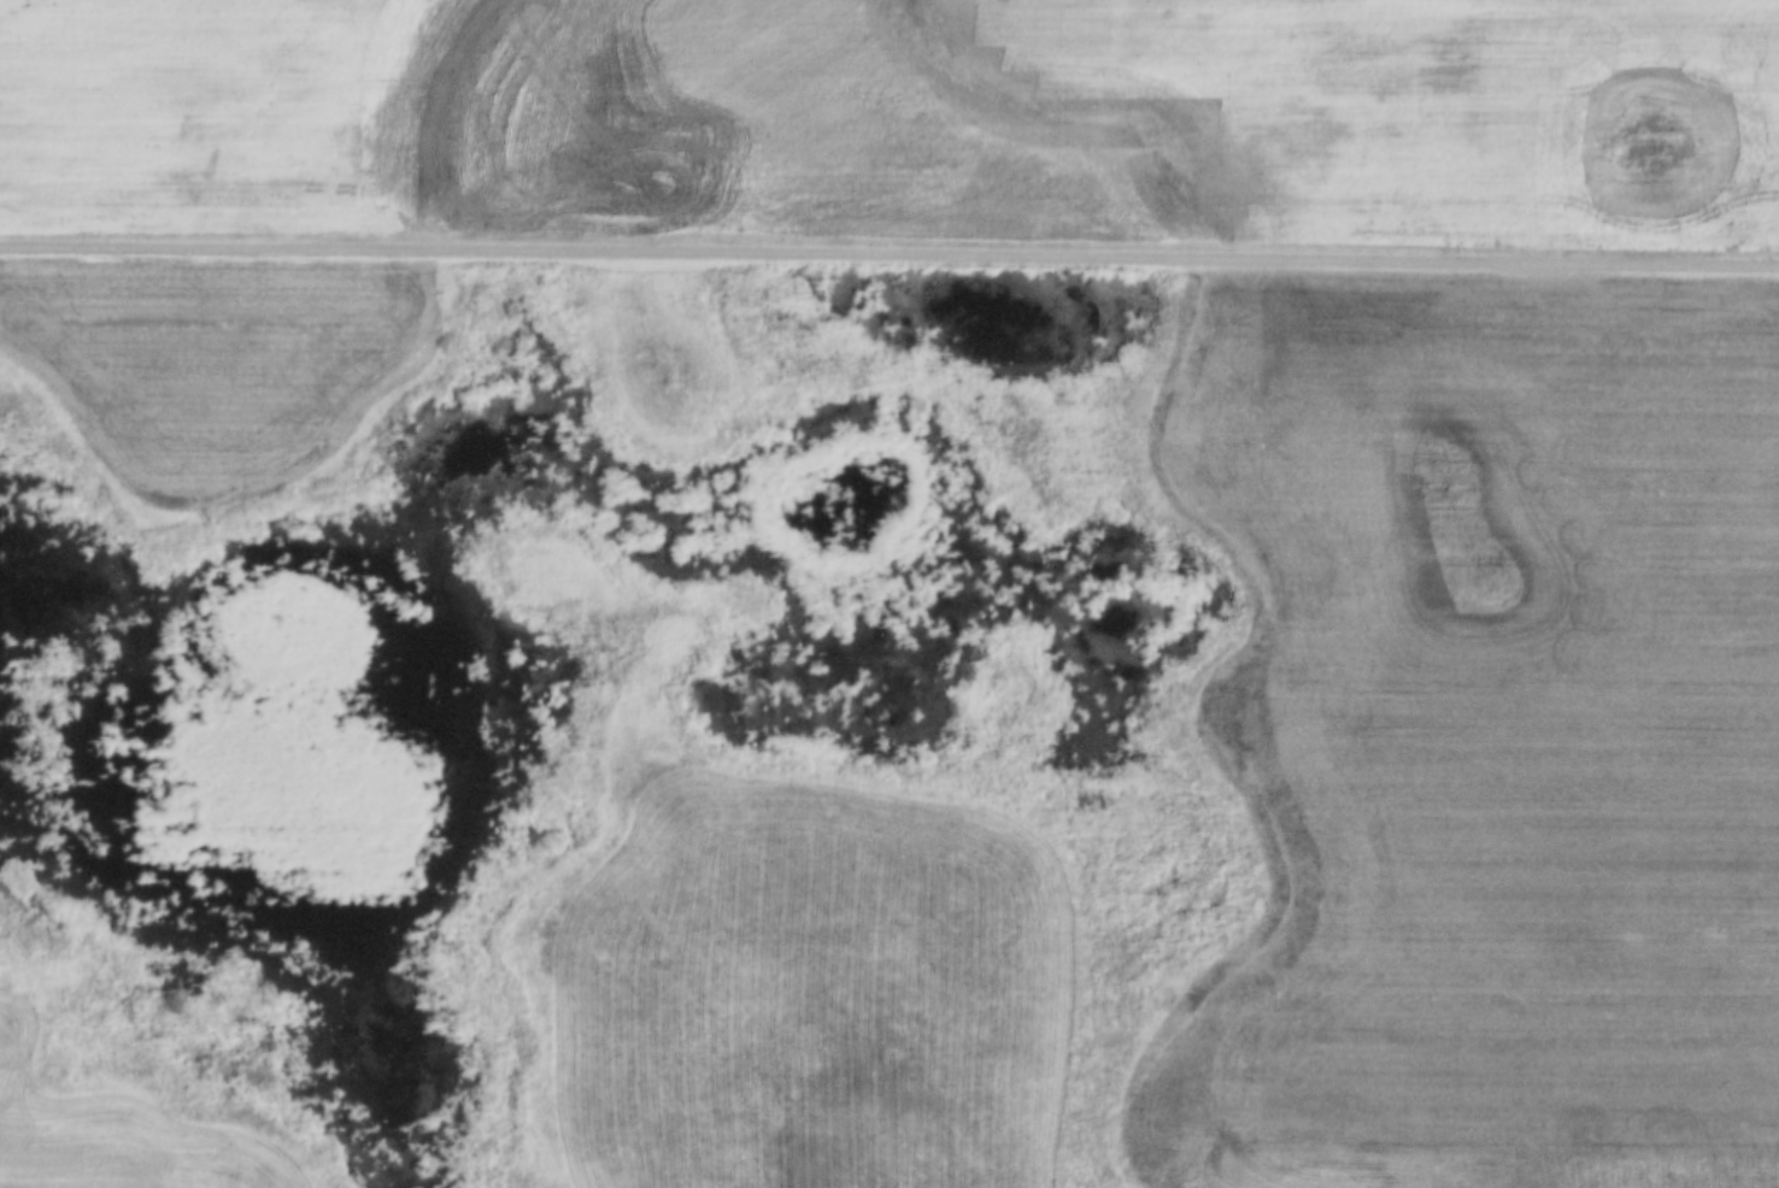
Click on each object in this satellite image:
road: (889, 257)

